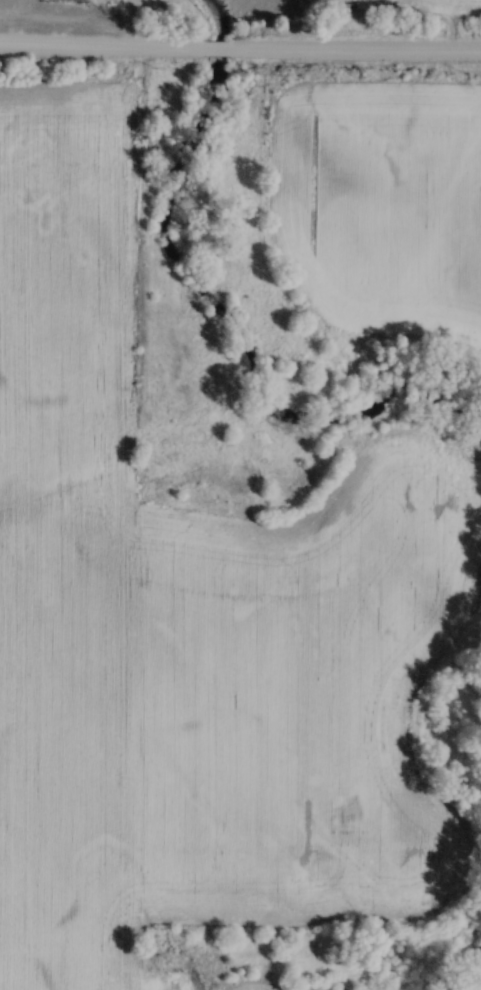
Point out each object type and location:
road: (240, 51)

